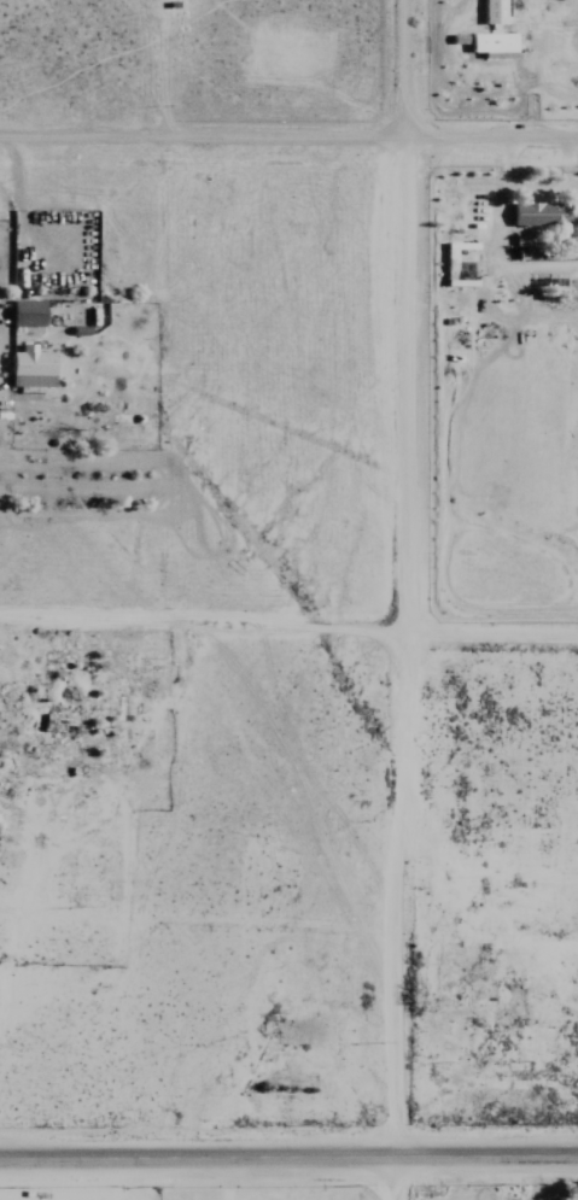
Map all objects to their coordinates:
road: (409, 72)
road: (288, 144)
road: (288, 649)
road: (401, 673)
road: (288, 1158)
road: (226, 1178)

